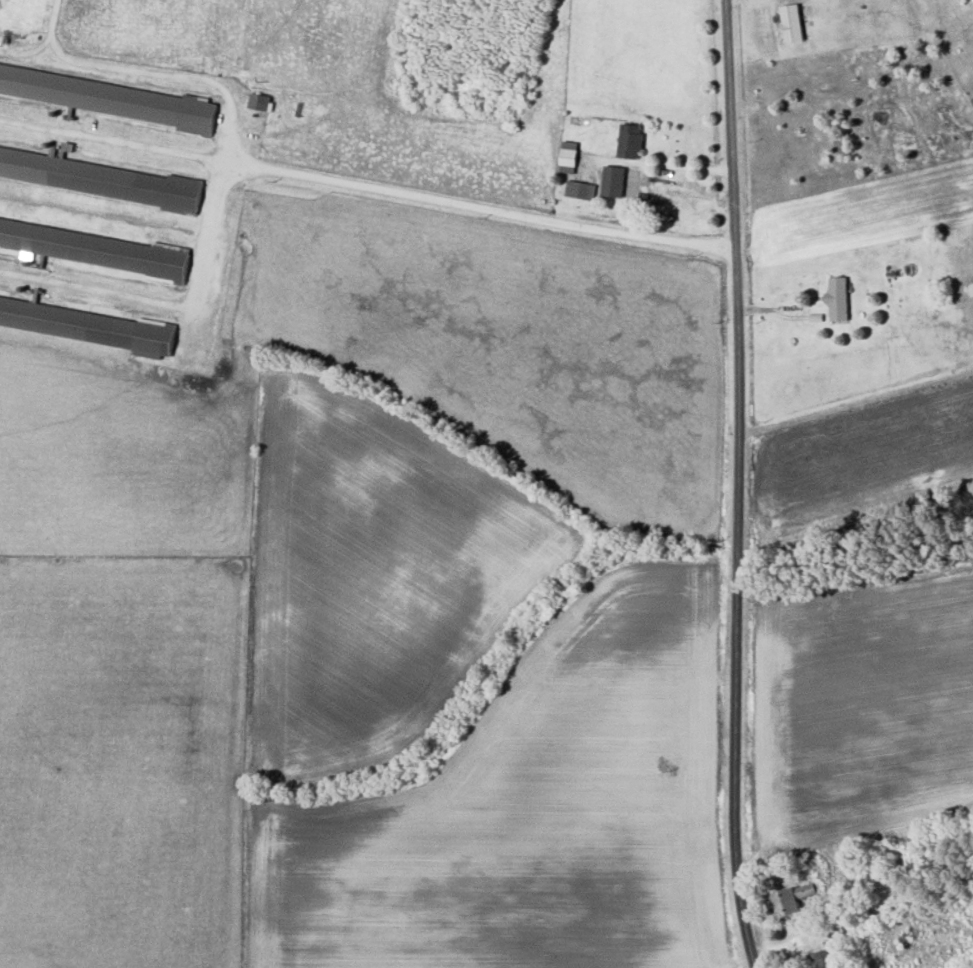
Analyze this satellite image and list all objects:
building: (792, 22)
building: (111, 97)
building: (259, 101)
building: (630, 140)
building: (568, 156)
building: (613, 180)
building: (580, 189)
building: (166, 192)
building: (99, 249)
building: (837, 298)
building: (48, 320)
road: (736, 485)
building: (795, 899)
building: (839, 930)
building: (819, 960)

